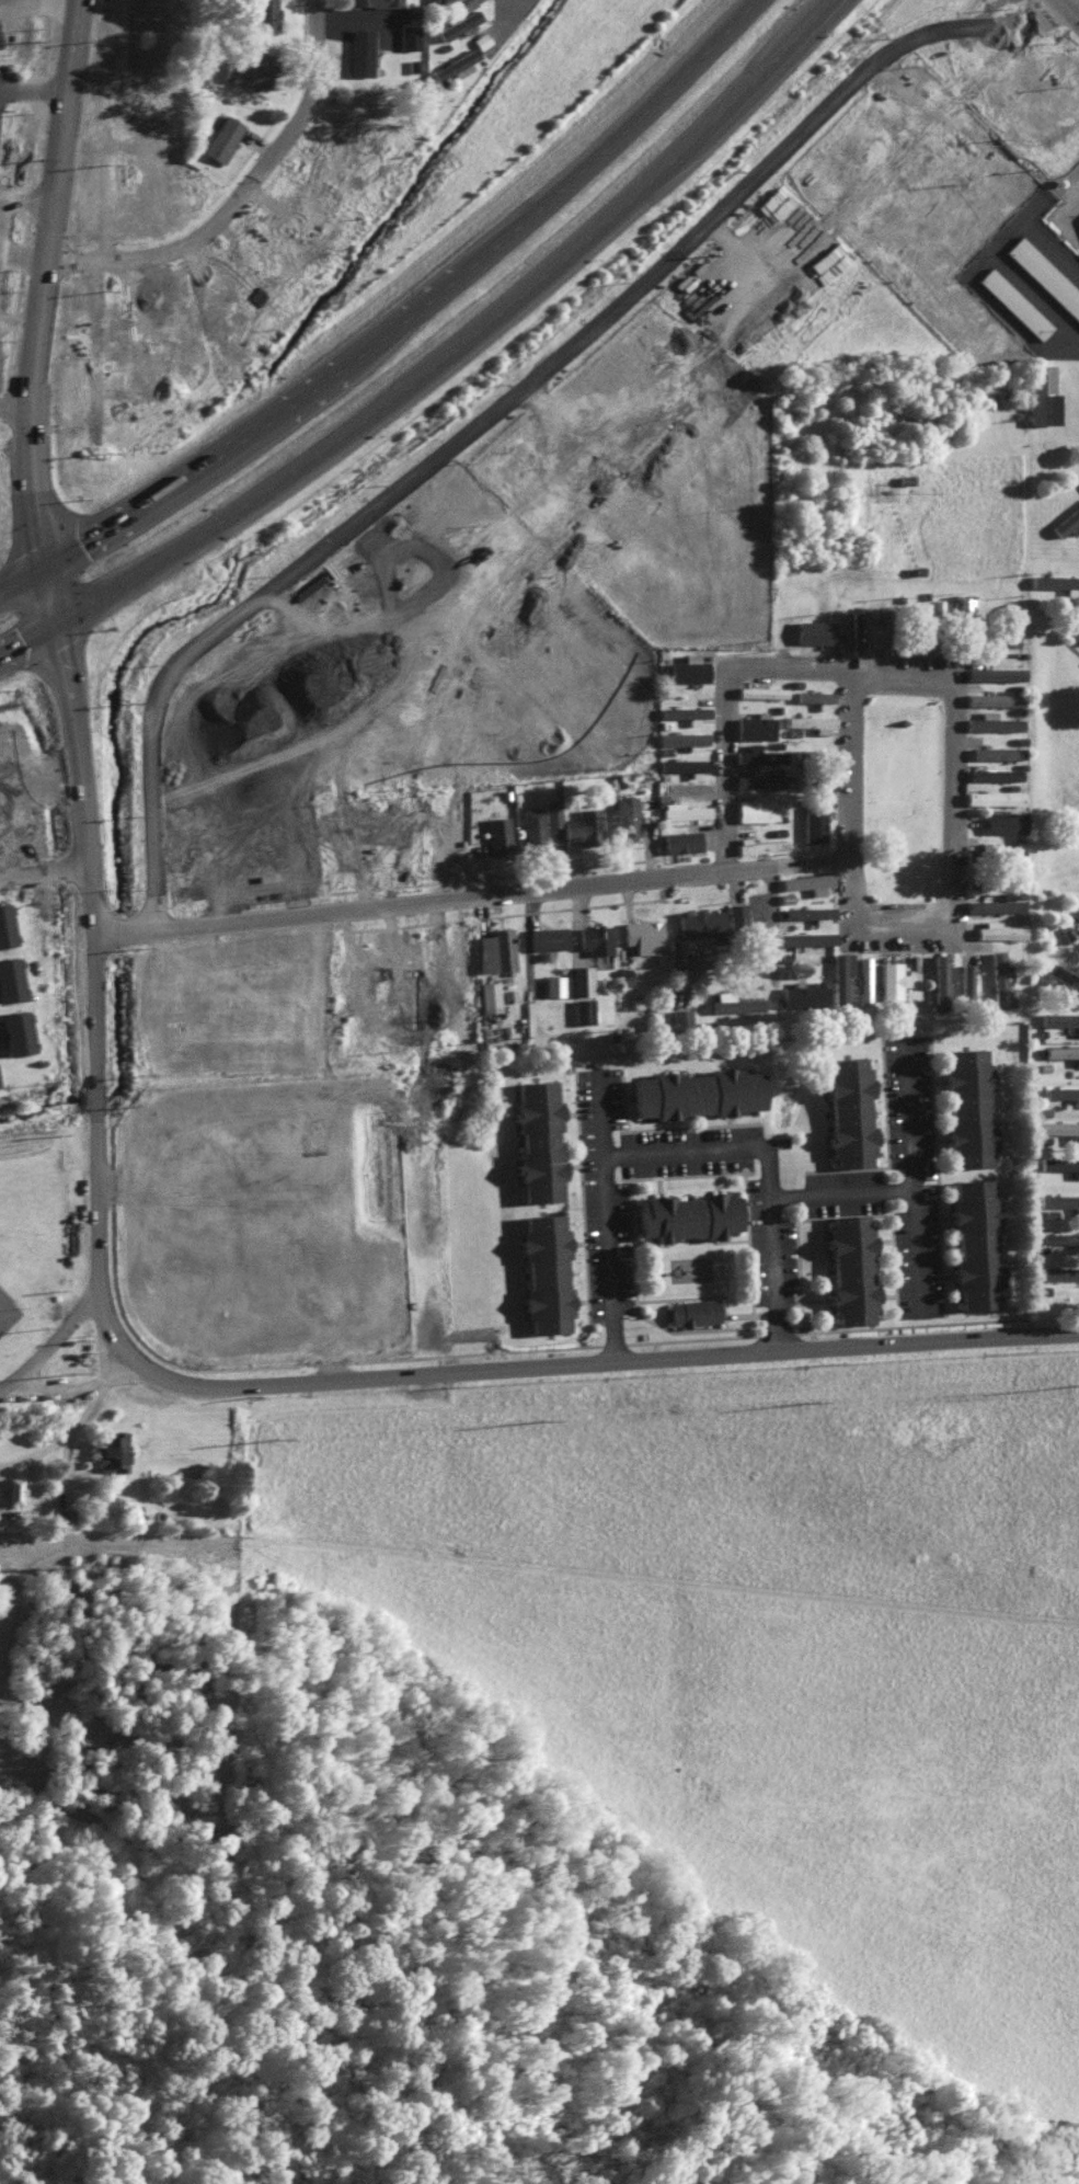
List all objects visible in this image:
building: (374, 2)
road: (820, 4)
road: (513, 5)
road: (76, 8)
road: (1069, 9)
building: (260, 13)
building: (457, 24)
road: (794, 33)
building: (408, 36)
building: (479, 39)
building: (359, 52)
road: (314, 62)
building: (455, 66)
building: (248, 70)
building: (1018, 80)
road: (46, 95)
road: (14, 96)
road: (2, 133)
building: (221, 137)
building: (963, 137)
building: (933, 167)
road: (55, 169)
road: (504, 190)
road: (4, 194)
road: (27, 196)
building: (905, 197)
road: (30, 262)
building: (910, 262)
building: (1044, 274)
road: (7, 283)
road: (3, 286)
road: (459, 290)
building: (1013, 301)
road: (31, 323)
road: (2, 324)
road: (475, 348)
road: (64, 373)
road: (2, 378)
building: (1041, 393)
road: (234, 413)
road: (475, 428)
road: (120, 448)
road: (81, 465)
road: (60, 479)
road: (133, 481)
traffic signals: (89, 506)
building: (1067, 521)
road: (44, 531)
road: (97, 561)
road: (520, 562)
building: (1054, 580)
road: (31, 601)
building: (963, 604)
road: (108, 618)
road: (108, 619)
building: (1007, 627)
building: (813, 630)
building: (874, 631)
building: (1077, 634)
building: (910, 645)
road: (36, 661)
building: (687, 667)
building: (994, 672)
building: (760, 690)
building: (813, 695)
building: (992, 697)
road: (734, 706)
building: (682, 710)
road: (468, 712)
building: (810, 721)
building: (990, 721)
building: (753, 727)
building: (682, 737)
road: (76, 752)
building: (997, 752)
building: (757, 754)
road: (157, 759)
building: (682, 763)
road: (860, 766)
building: (994, 773)
road: (137, 775)
building: (761, 779)
road: (91, 781)
road: (13, 784)
building: (992, 796)
building: (13, 809)
building: (755, 809)
building: (682, 810)
building: (551, 813)
building: (625, 816)
building: (1003, 821)
building: (812, 822)
building: (582, 824)
building: (531, 826)
building: (496, 832)
building: (679, 839)
road: (962, 844)
building: (759, 845)
building: (274, 849)
road: (661, 856)
road: (567, 860)
road: (497, 864)
road: (759, 865)
road: (164, 878)
building: (806, 881)
road: (473, 883)
road: (531, 888)
building: (994, 904)
road: (783, 910)
building: (810, 913)
building: (712, 918)
building: (4, 924)
road: (91, 930)
building: (998, 930)
building: (1078, 931)
building: (636, 934)
building: (546, 936)
building: (593, 937)
building: (804, 937)
road: (590, 938)
road: (540, 941)
building: (494, 949)
road: (730, 969)
road: (784, 972)
building: (839, 974)
building: (964, 974)
building: (940, 975)
building: (9, 977)
building: (997, 977)
building: (579, 979)
building: (889, 979)
building: (863, 980)
building: (1064, 980)
road: (200, 981)
building: (552, 984)
building: (203, 991)
building: (489, 995)
building: (802, 995)
building: (263, 998)
building: (735, 1003)
building: (582, 1009)
building: (679, 1015)
building: (1060, 1018)
building: (13, 1031)
road: (220, 1039)
building: (1063, 1051)
road: (94, 1088)
road: (239, 1091)
building: (693, 1091)
building: (1063, 1093)
building: (966, 1107)
building: (847, 1109)
building: (285, 1114)
building: (177, 1123)
building: (1060, 1128)
building: (536, 1140)
building: (288, 1152)
building: (177, 1156)
building: (1060, 1163)
road: (776, 1171)
road: (923, 1181)
building: (285, 1192)
building: (1060, 1200)
road: (852, 1201)
building: (177, 1205)
building: (686, 1214)
road: (285, 1221)
road: (615, 1223)
building: (285, 1230)
building: (1058, 1237)
building: (177, 1239)
building: (974, 1243)
building: (849, 1268)
building: (1058, 1271)
building: (543, 1272)
building: (183, 1279)
building: (379, 1294)
building: (345, 1296)
building: (305, 1300)
building: (266, 1301)
building: (691, 1311)
building: (200, 1314)
road: (1052, 1330)
road: (125, 1342)
road: (674, 1354)
road: (71, 1385)
road: (82, 1407)
road: (35, 1448)
building: (110, 1452)
building: (12, 1489)
road: (60, 1493)
building: (62, 1517)

